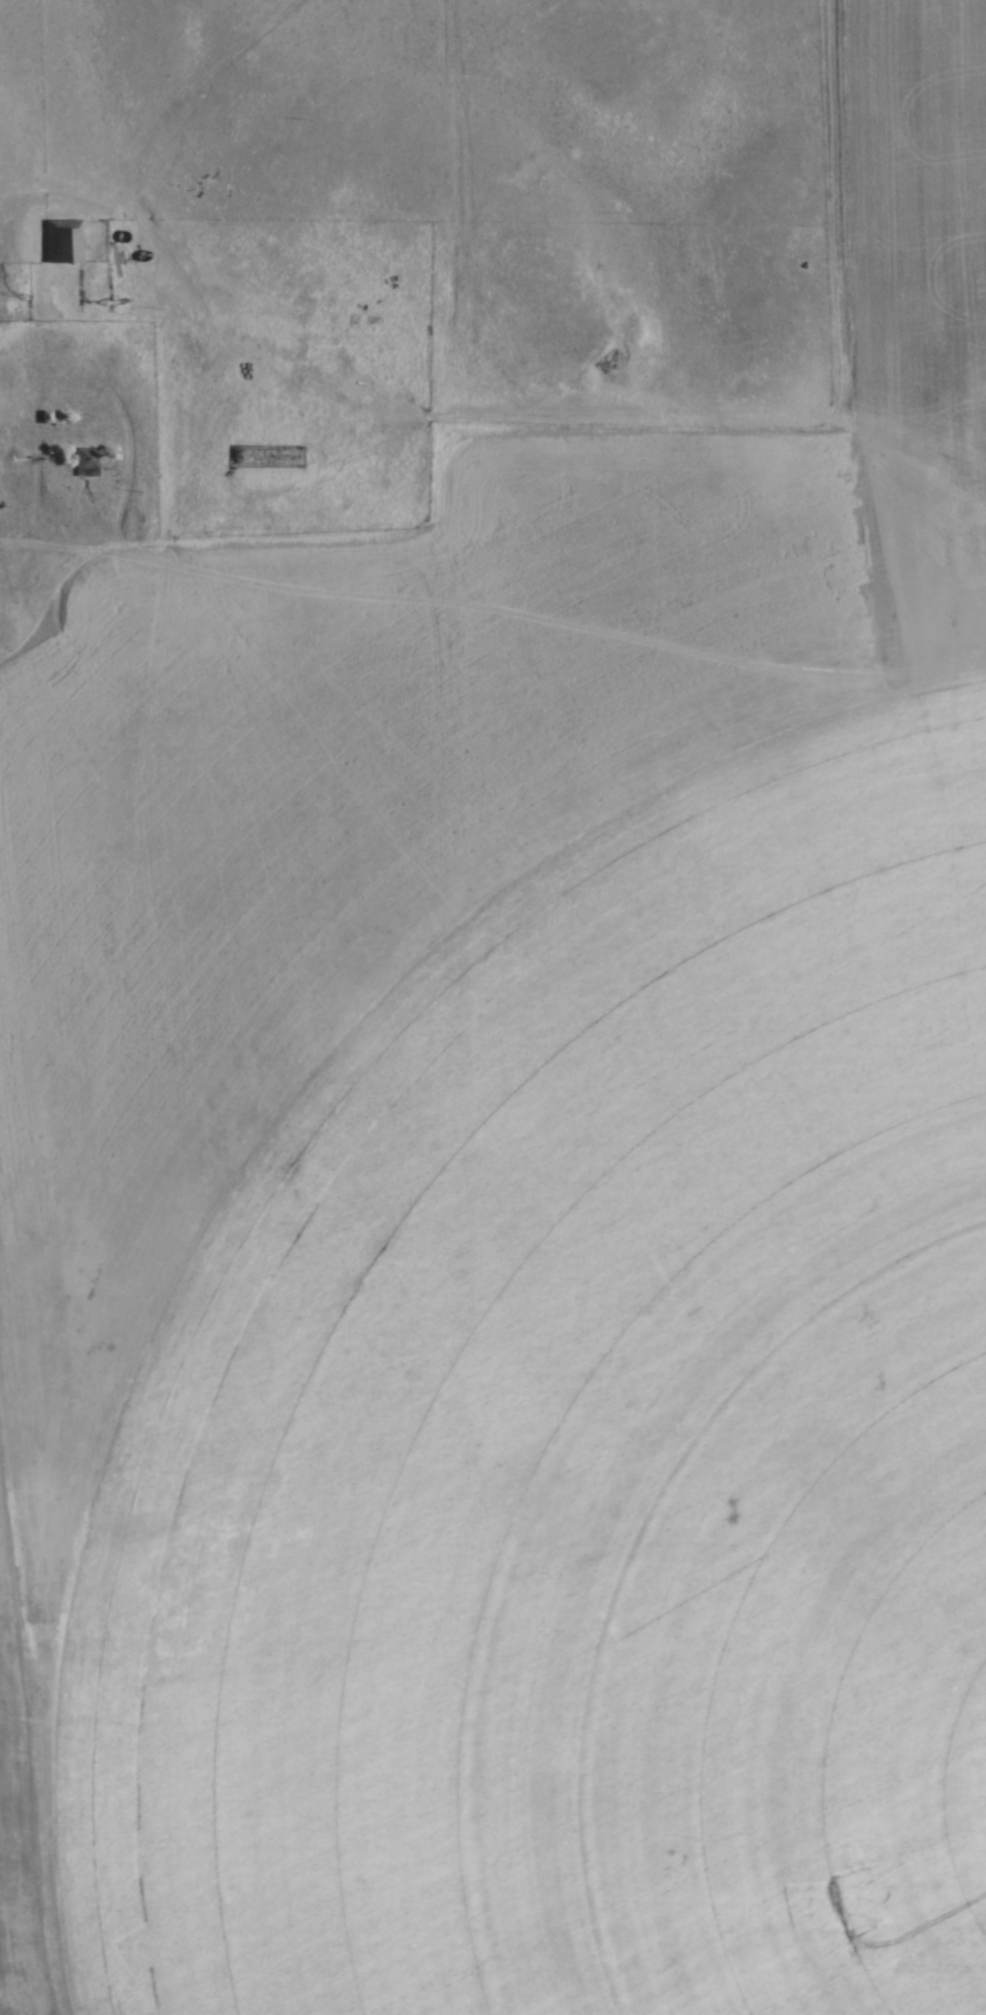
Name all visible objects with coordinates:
building: (63, 239)
road: (649, 412)
building: (85, 458)
road: (198, 513)

